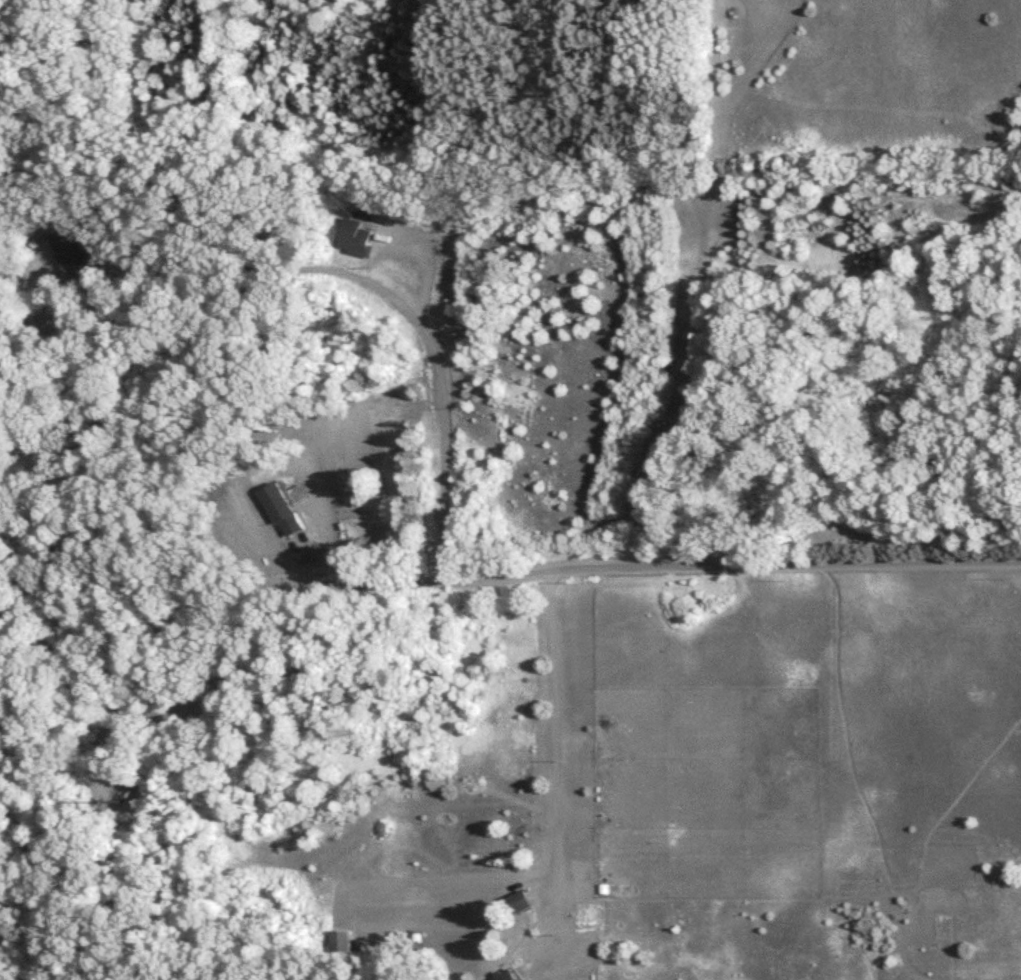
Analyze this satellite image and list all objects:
building: (353, 238)
building: (69, 251)
road: (204, 264)
road: (439, 371)
building: (281, 511)
road: (699, 563)
road: (552, 747)
building: (519, 903)
building: (340, 941)
building: (507, 976)

